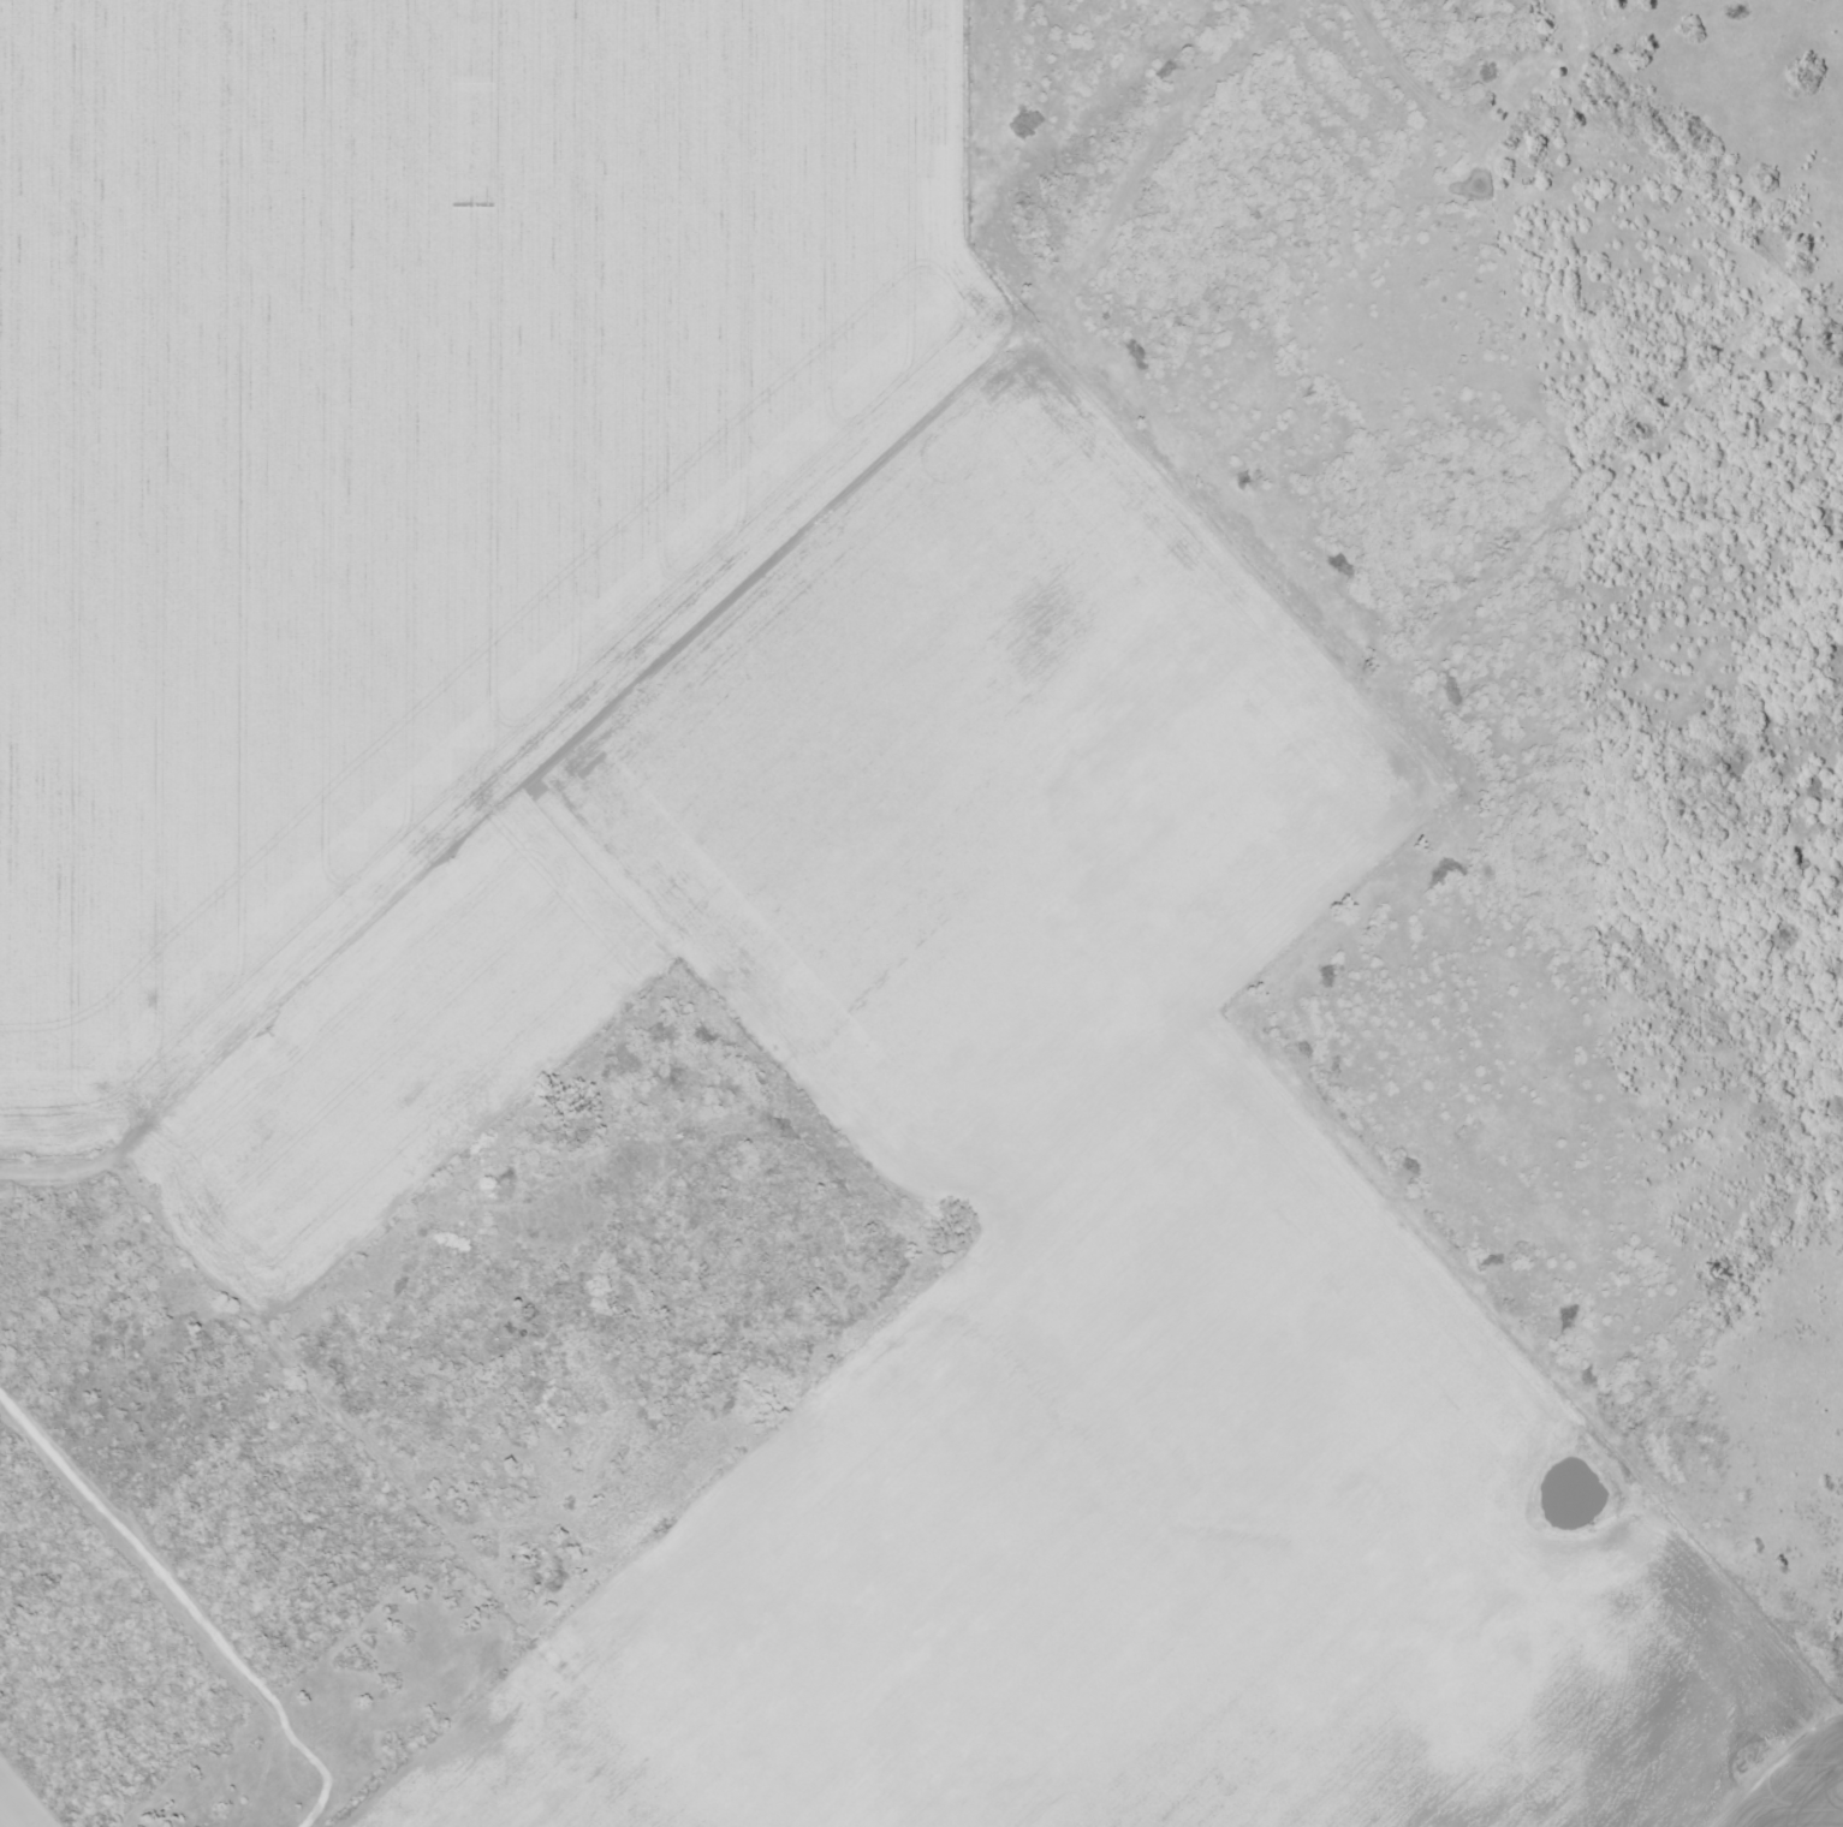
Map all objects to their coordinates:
road: (41, 1173)

